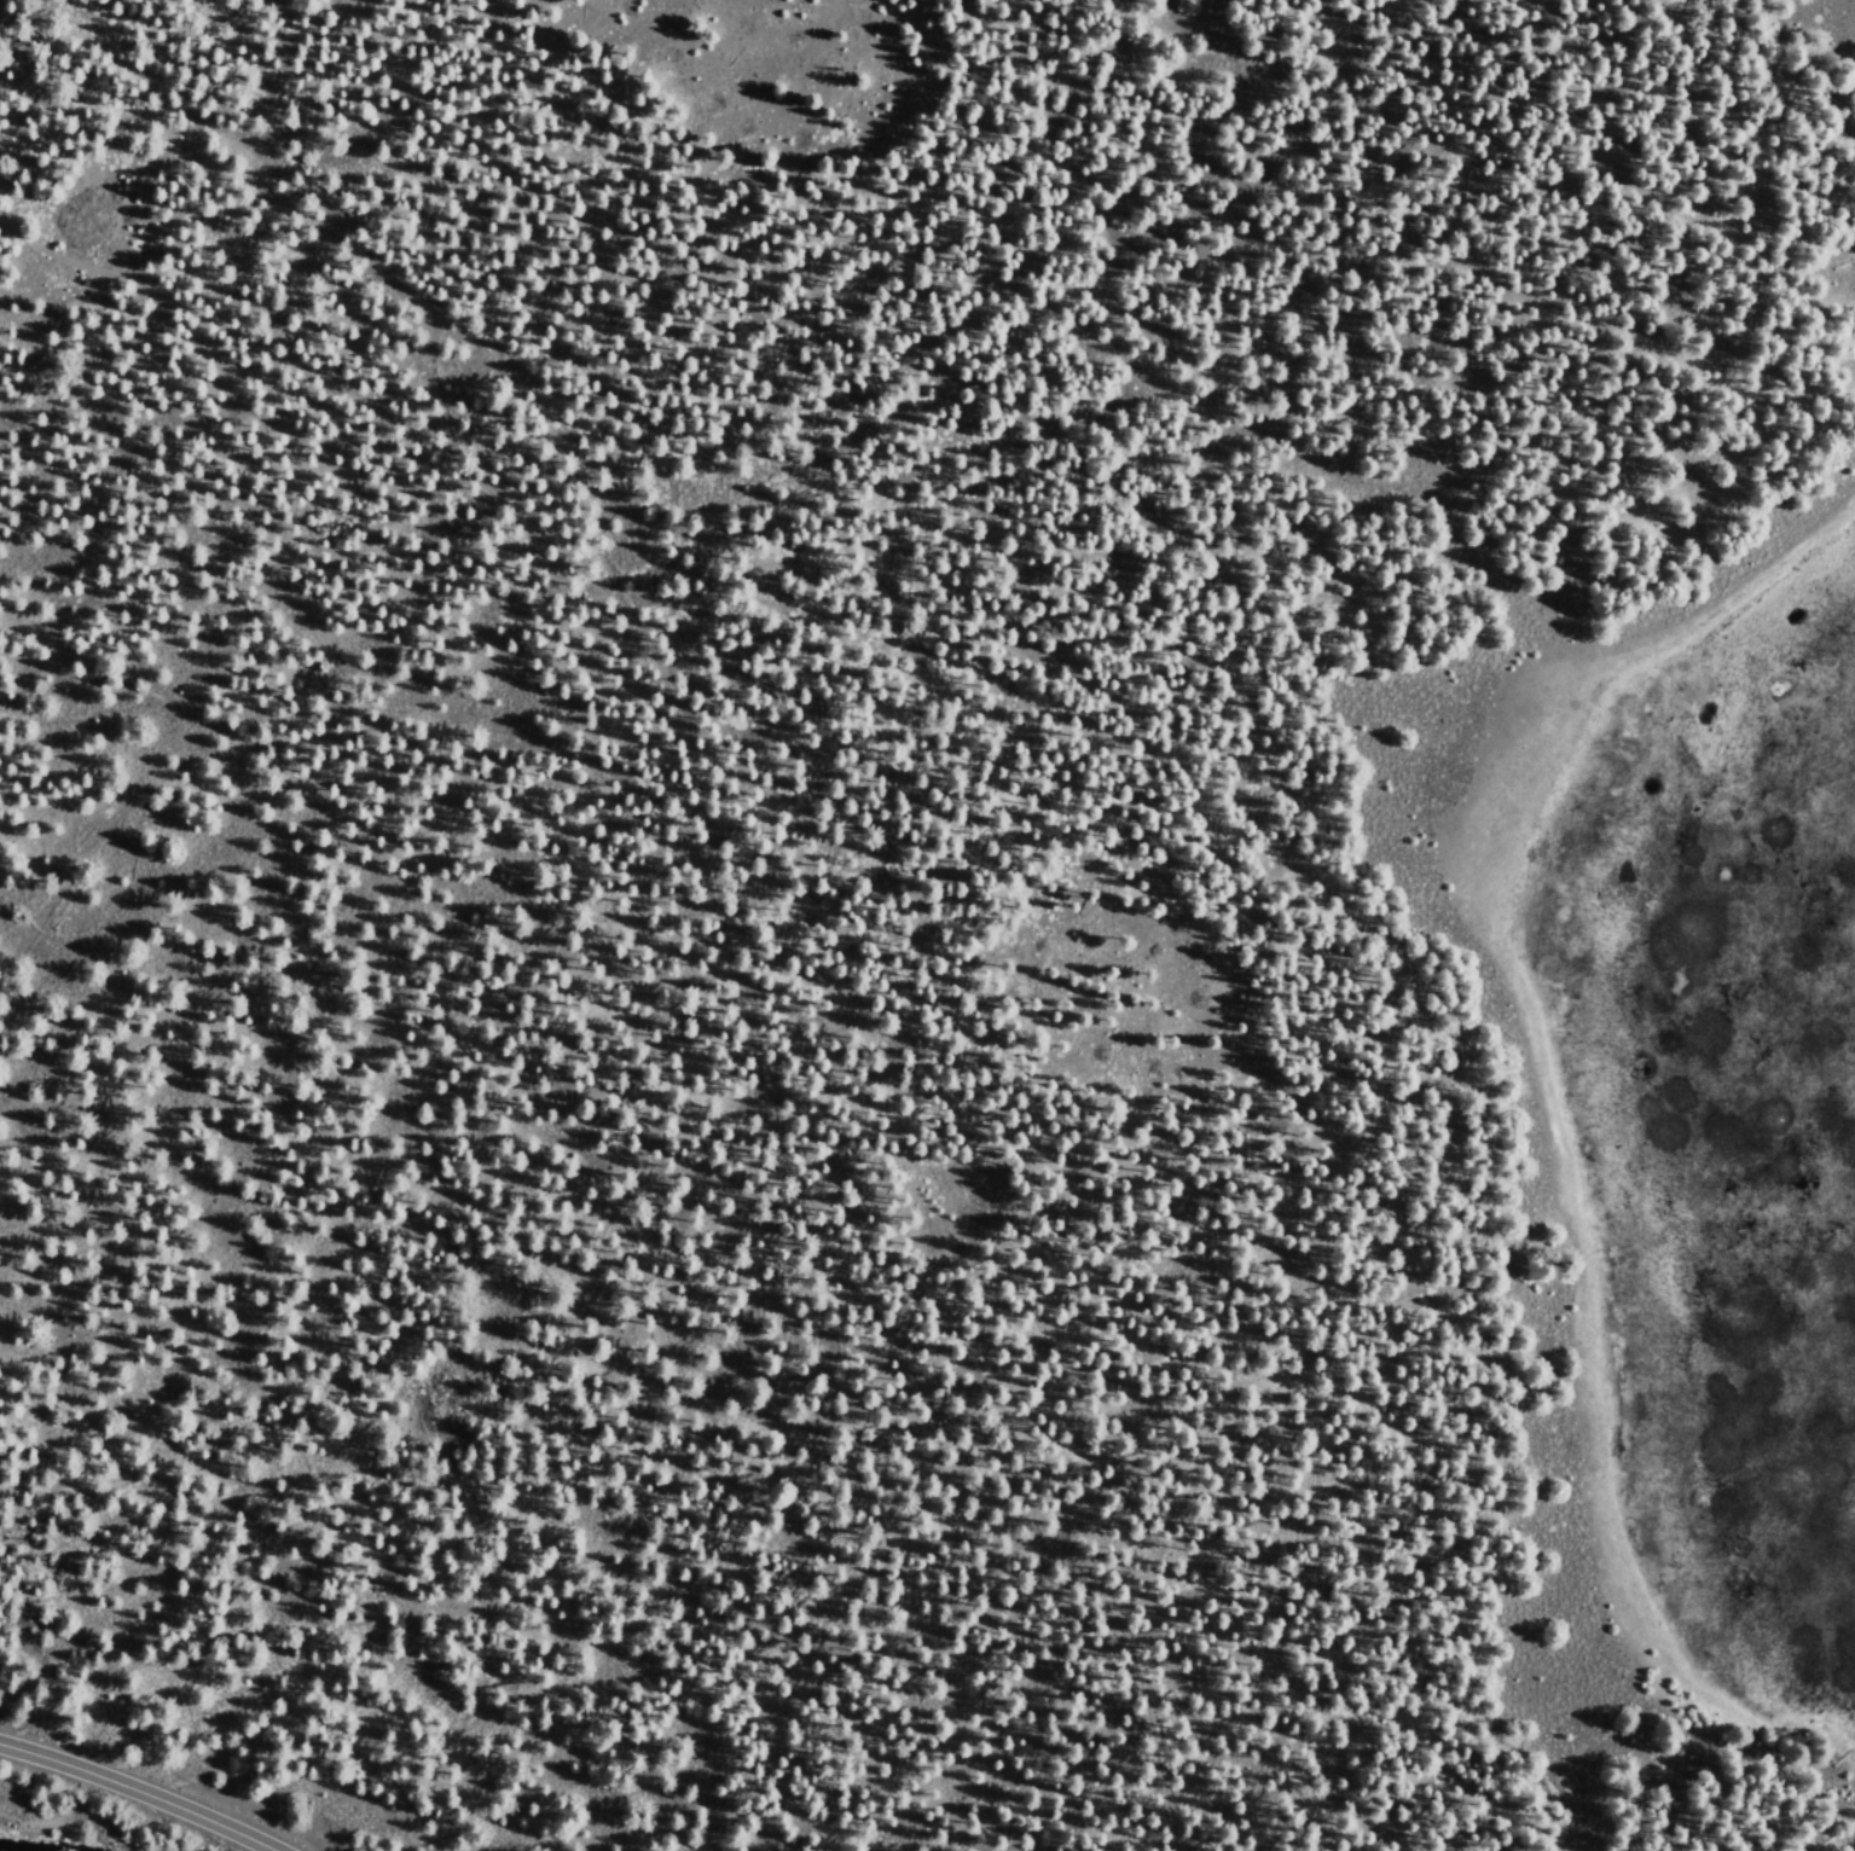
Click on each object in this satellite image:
road: (717, 919)
road: (141, 1789)

